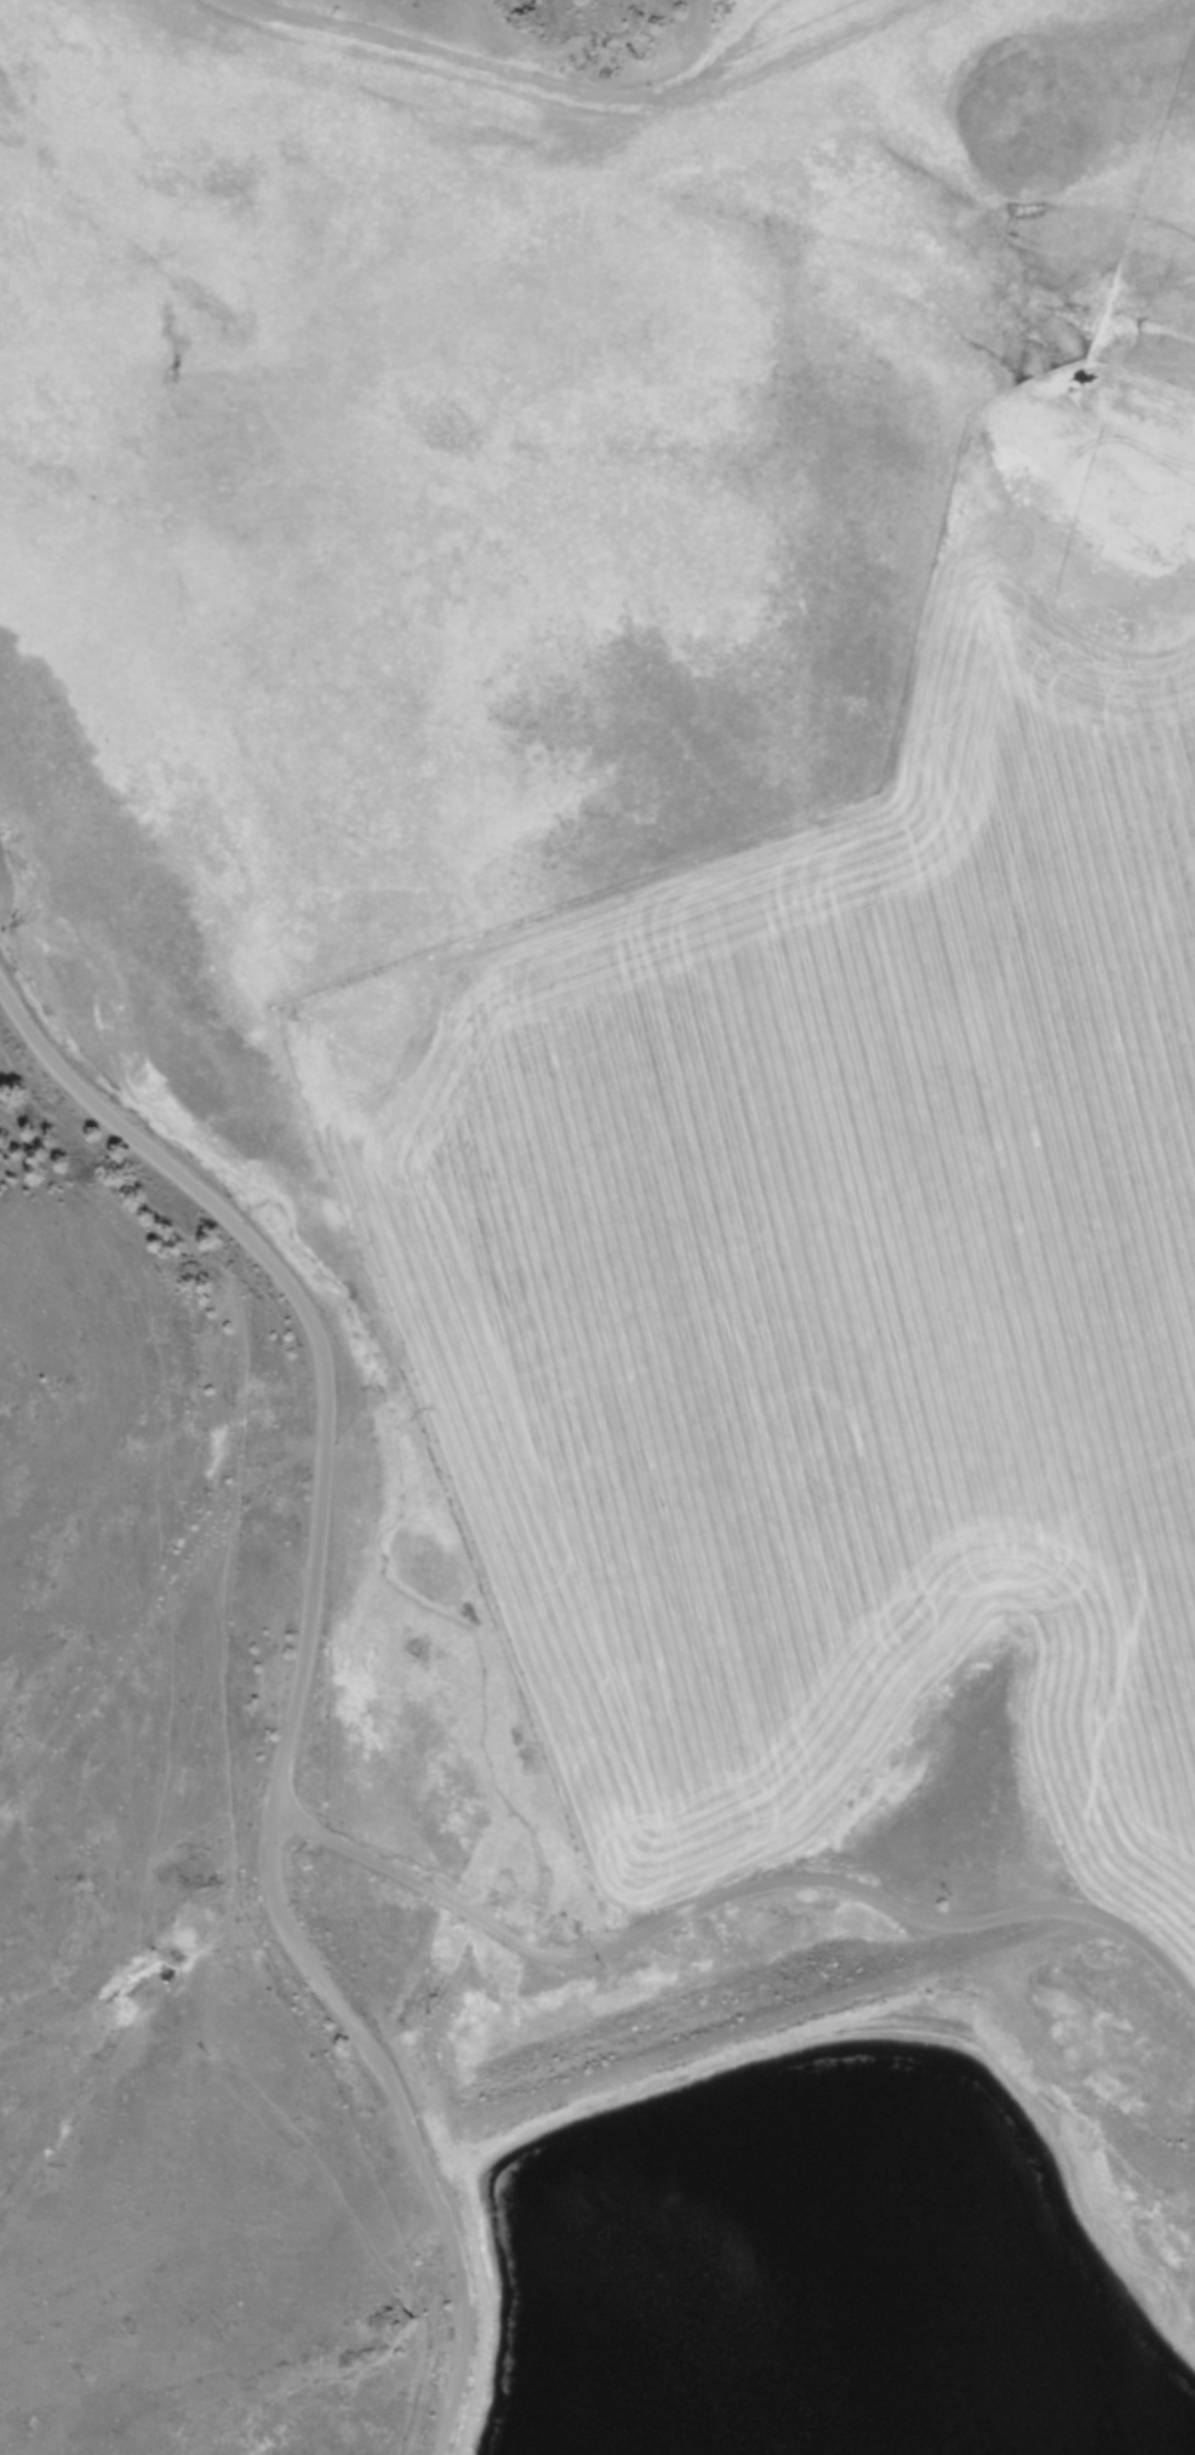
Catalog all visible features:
road: (647, 93)
crop: (854, 1225)
road: (322, 1323)
road: (750, 1865)
road: (1185, 1875)
dam: (698, 2036)
road: (398, 2133)

